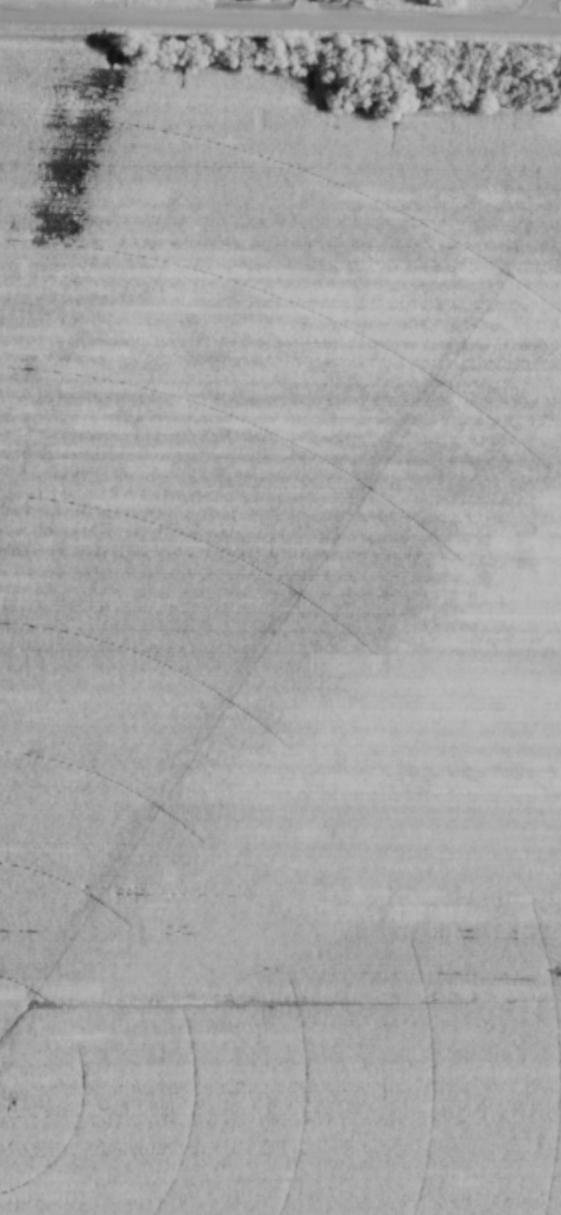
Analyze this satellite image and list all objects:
road: (302, 14)
road: (535, 17)
road: (280, 29)

